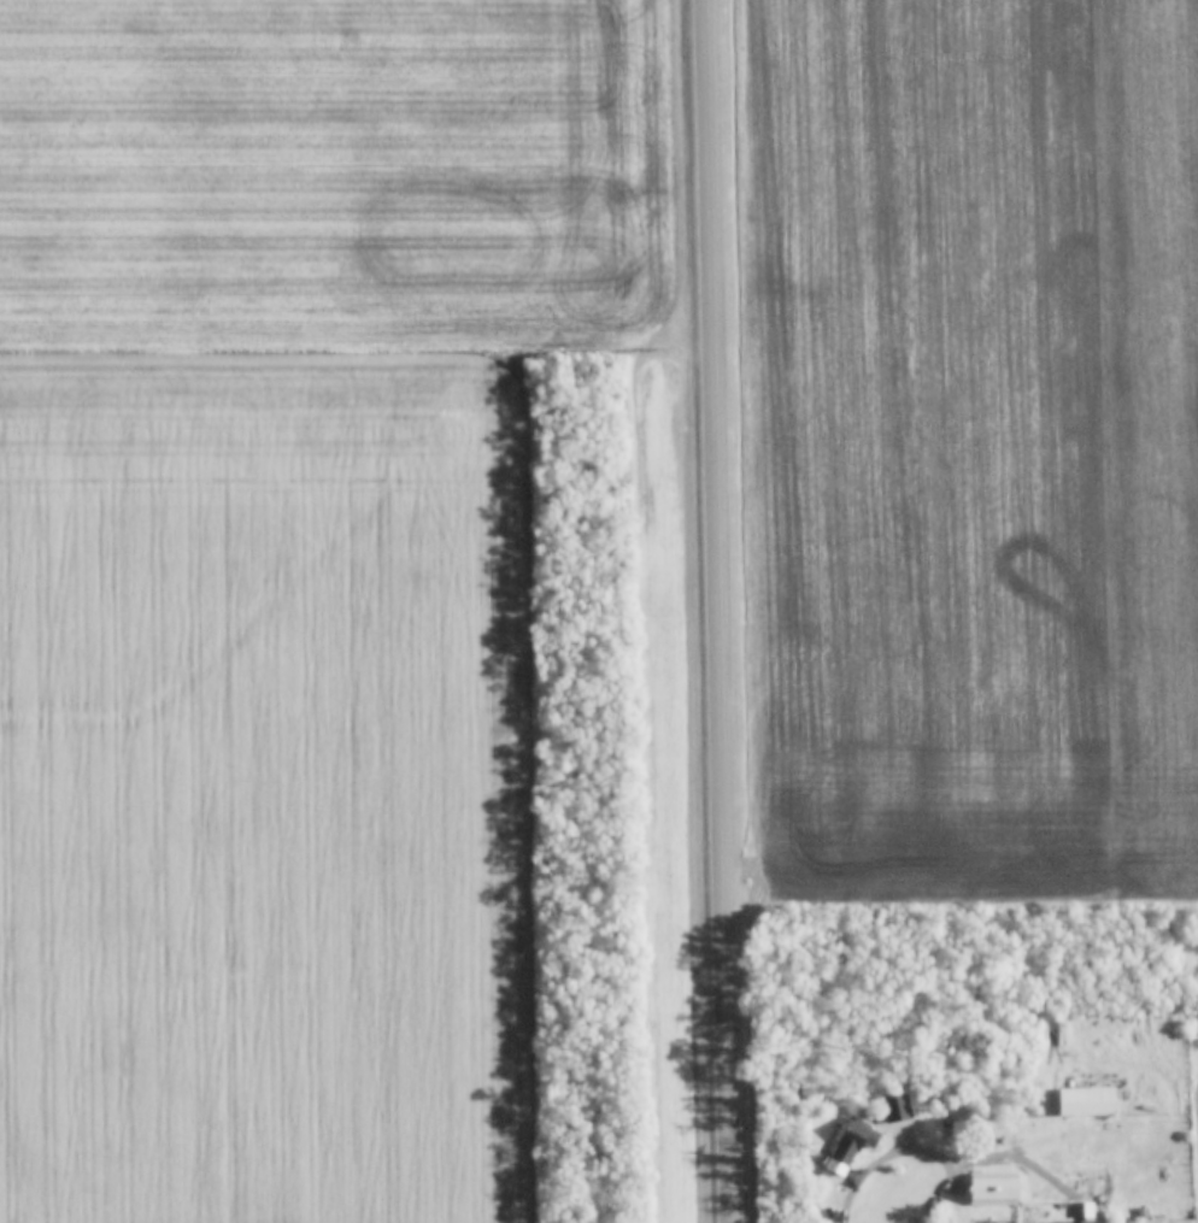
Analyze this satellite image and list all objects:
road: (723, 611)
building: (1087, 1100)
building: (855, 1135)
road: (928, 1149)
building: (1010, 1181)

